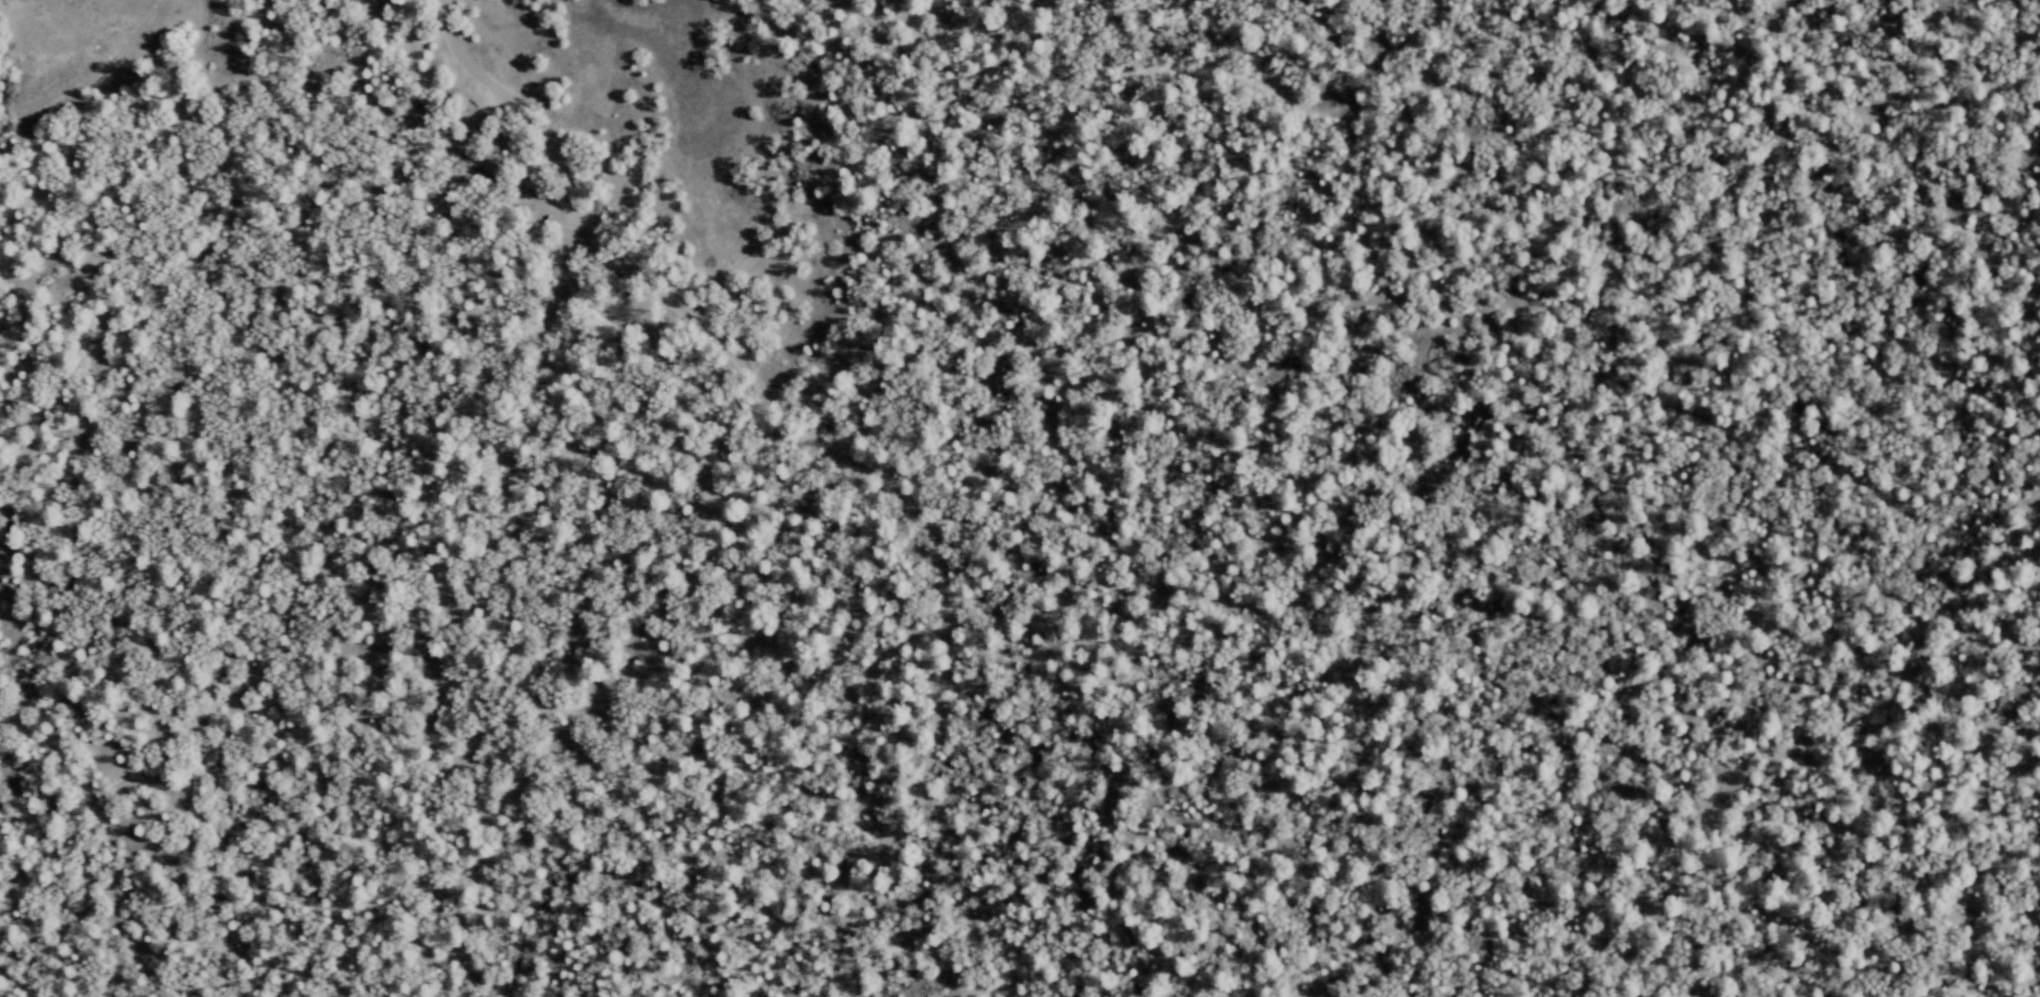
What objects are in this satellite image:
road: (822, 453)

